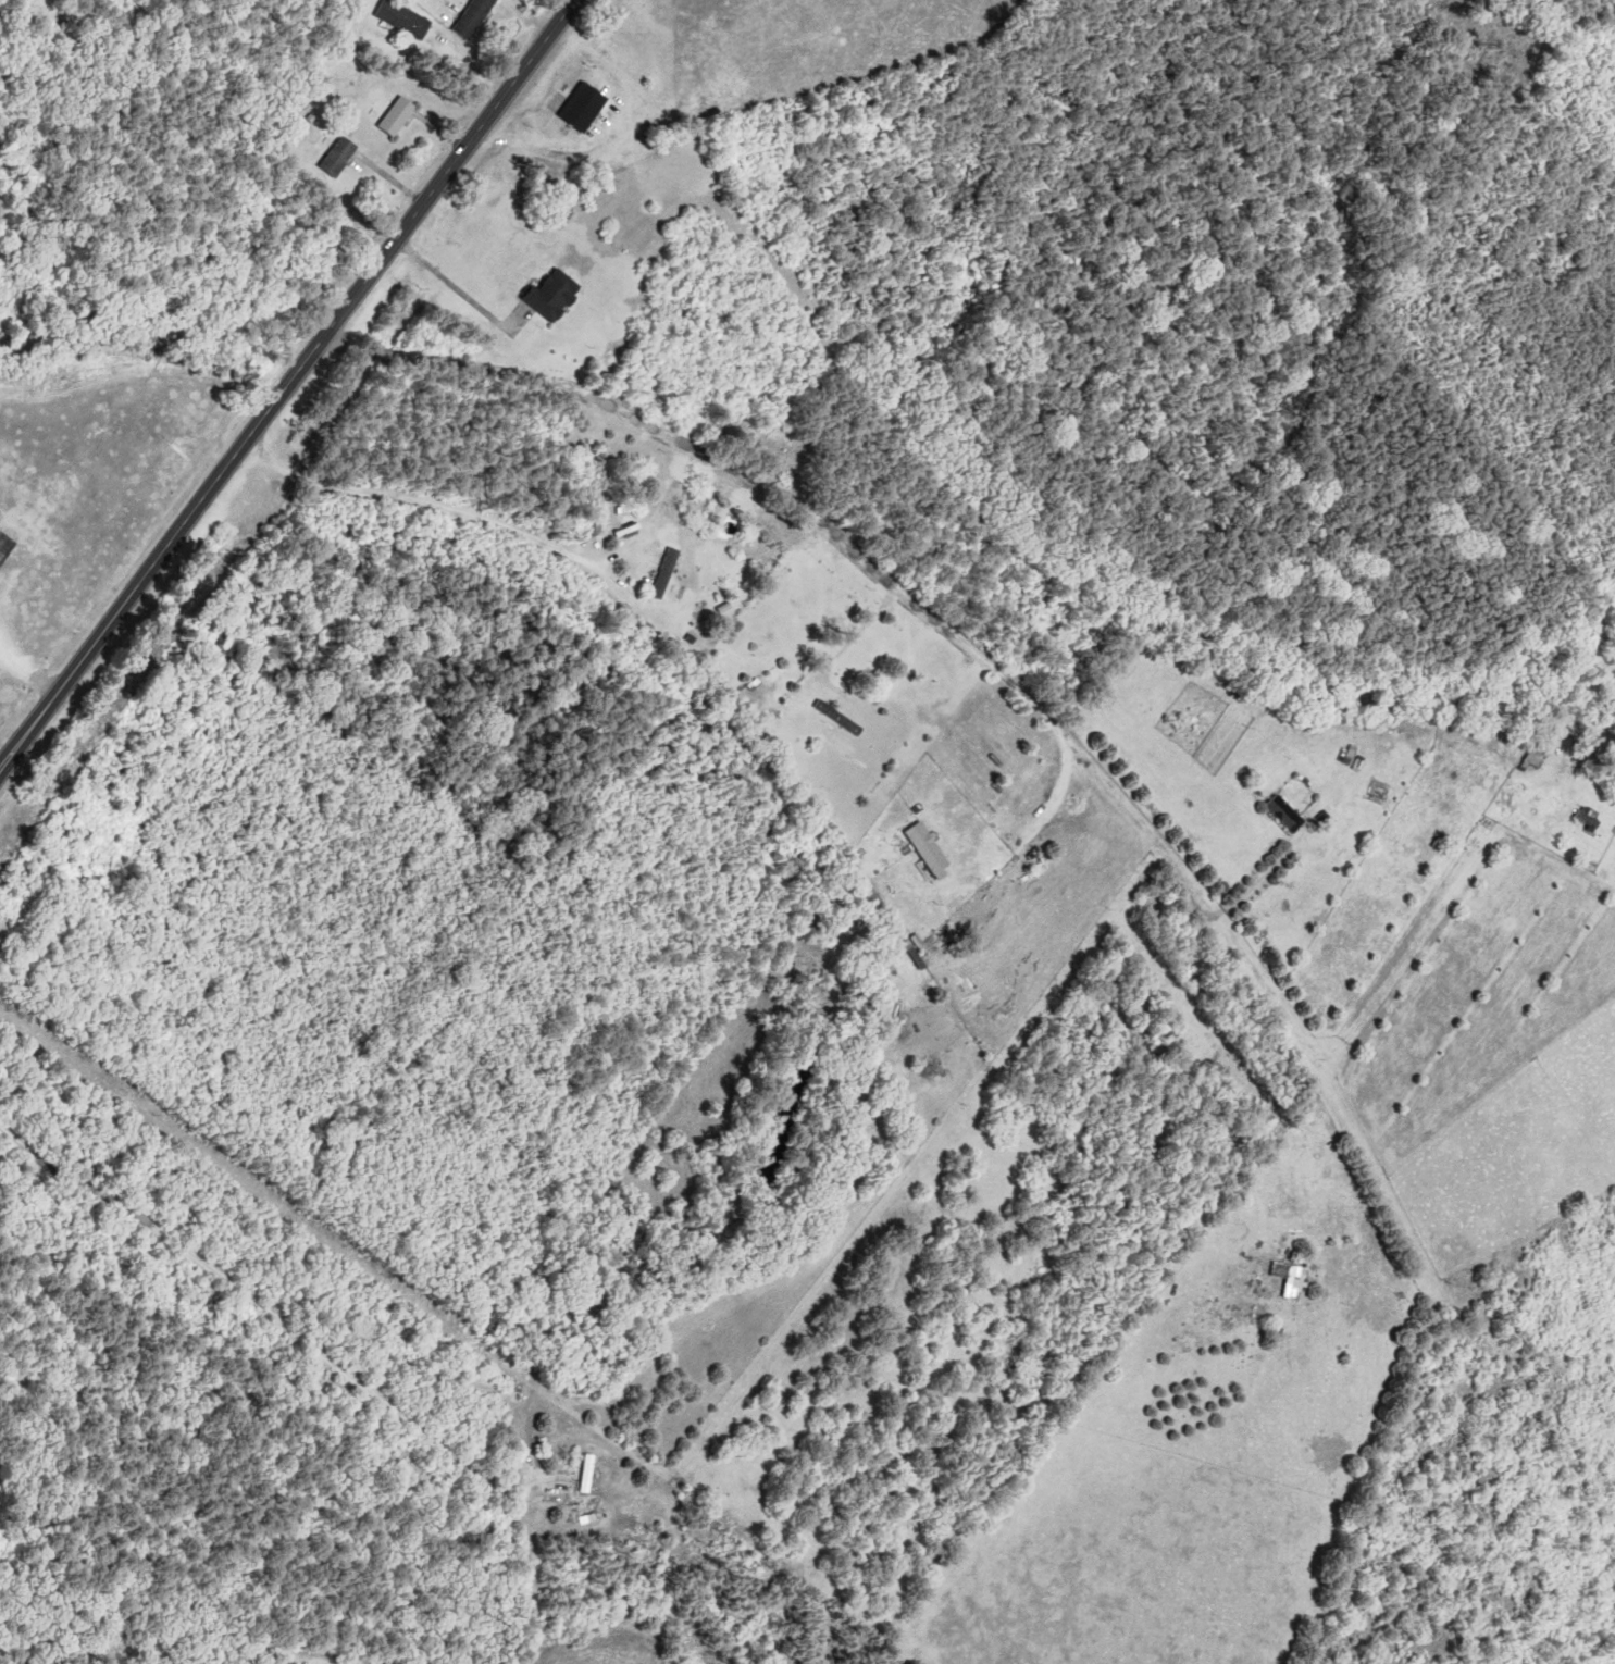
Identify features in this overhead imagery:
building: (407, 18)
building: (477, 18)
building: (588, 107)
building: (402, 116)
building: (344, 157)
road: (456, 287)
building: (557, 296)
road: (287, 384)
road: (419, 501)
road: (896, 588)
building: (842, 718)
building: (1541, 758)
building: (1289, 814)
building: (933, 848)
building: (914, 948)
building: (1293, 1278)
road: (273, 1315)
building: (593, 1473)

